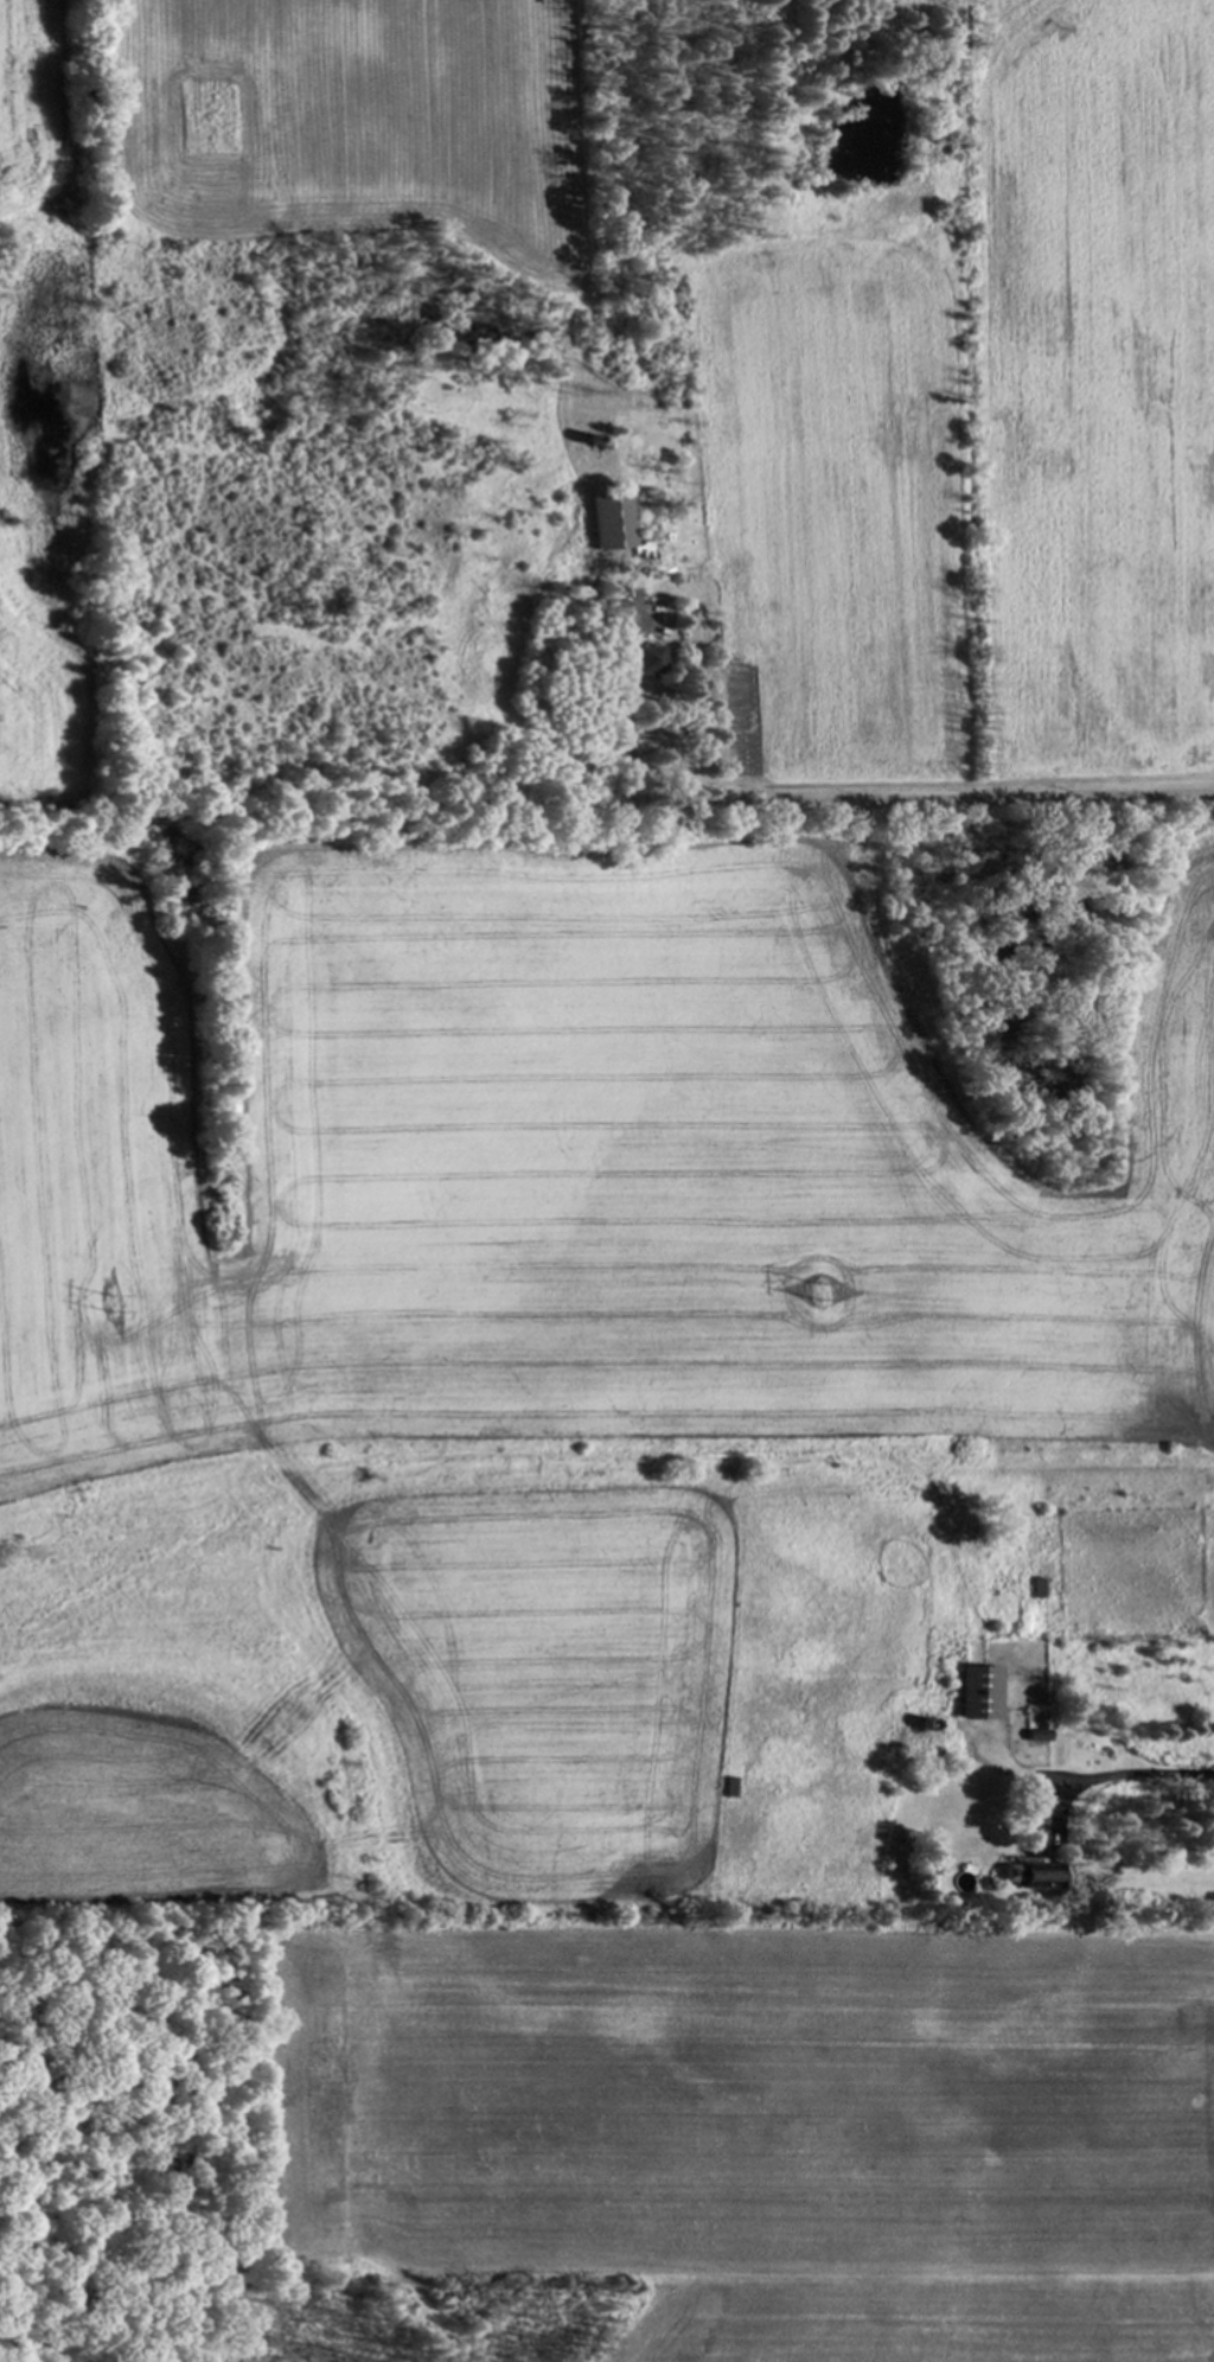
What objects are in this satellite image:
building: (609, 522)
building: (609, 608)
building: (569, 627)
building: (641, 660)
road: (852, 787)
power tower: (816, 1290)
power tower: (113, 1307)
building: (979, 1693)
building: (1037, 1736)
road: (1093, 1776)
building: (1037, 1813)
building: (1029, 1875)

